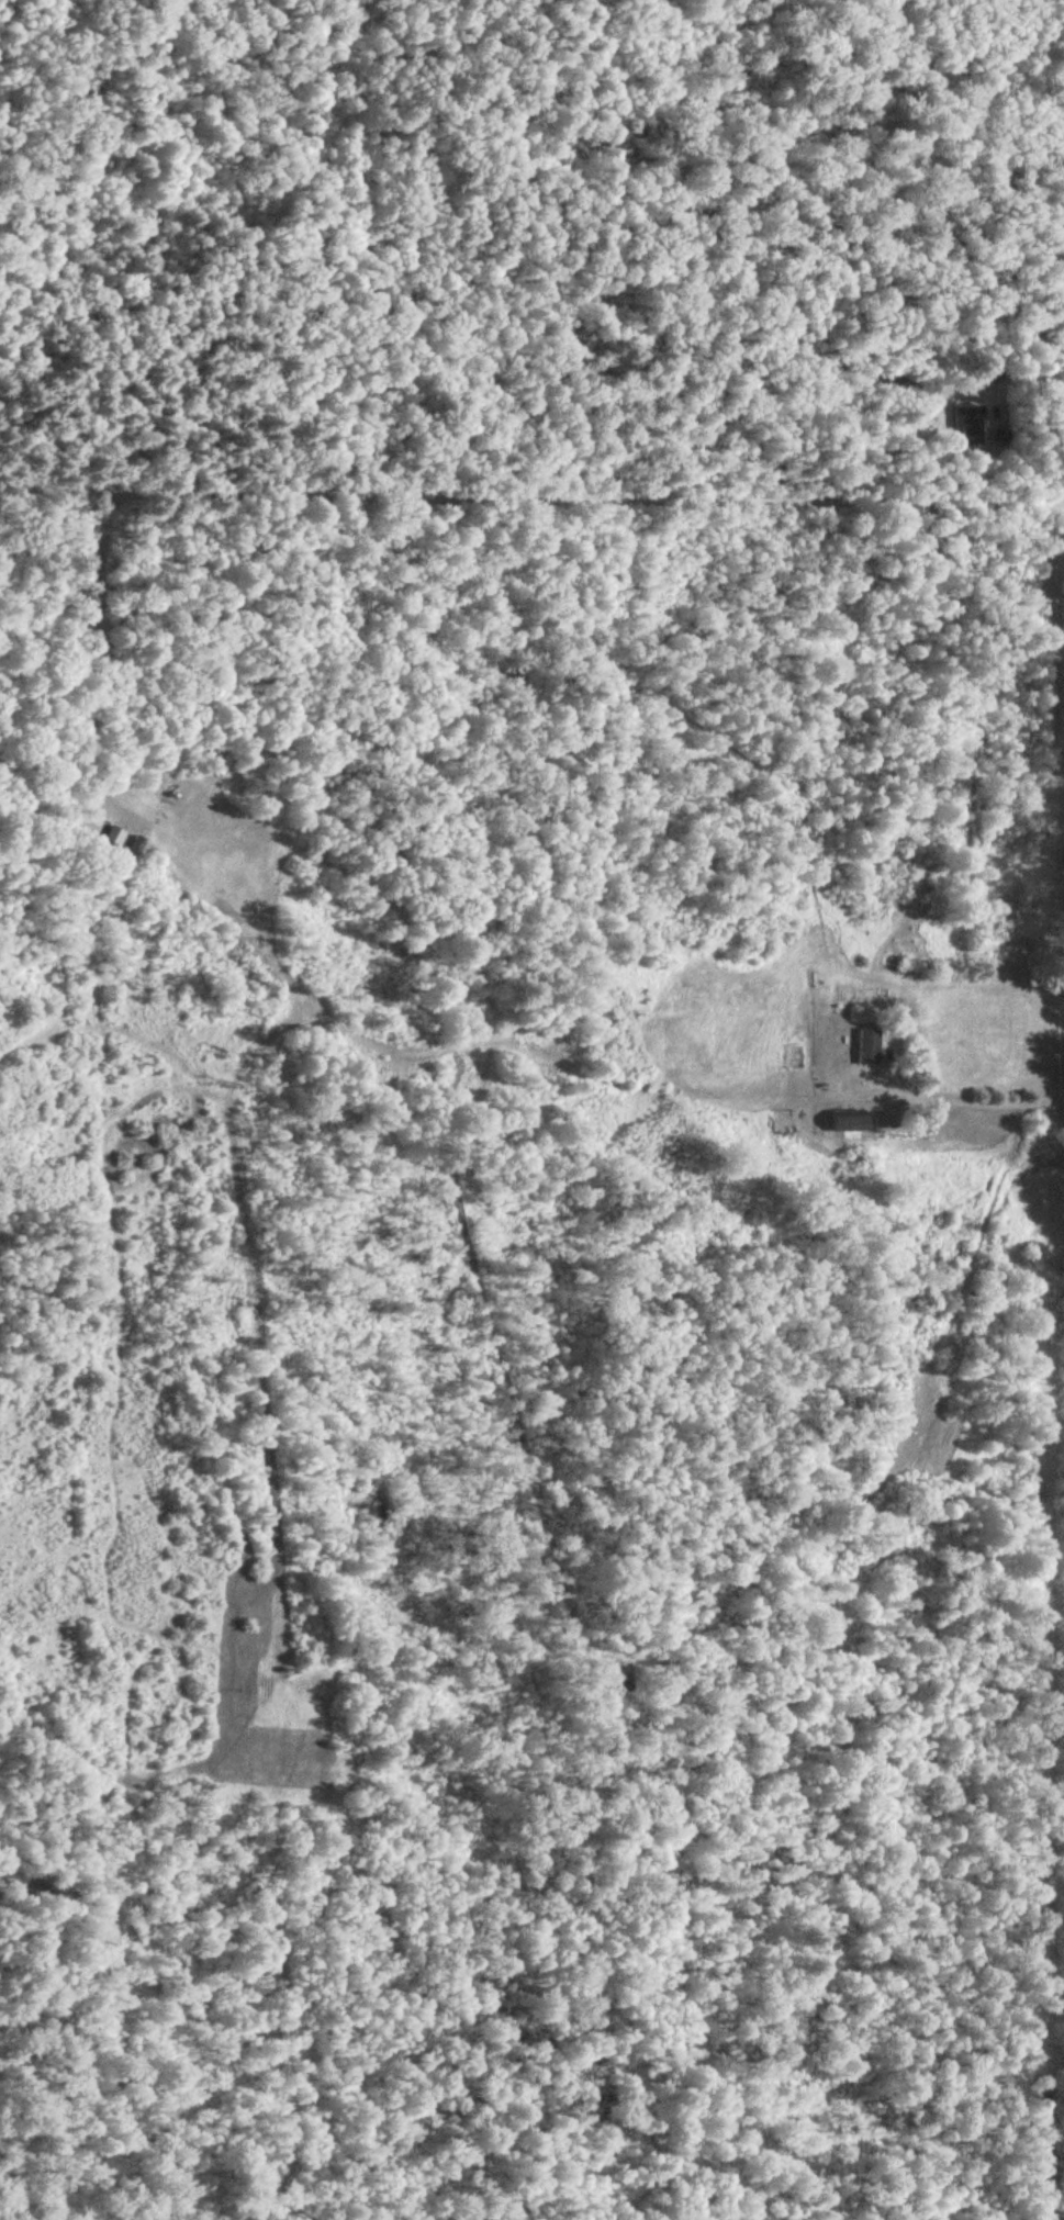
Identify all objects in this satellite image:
building: (973, 426)
building: (869, 1046)
building: (848, 1121)
road: (1013, 1135)

